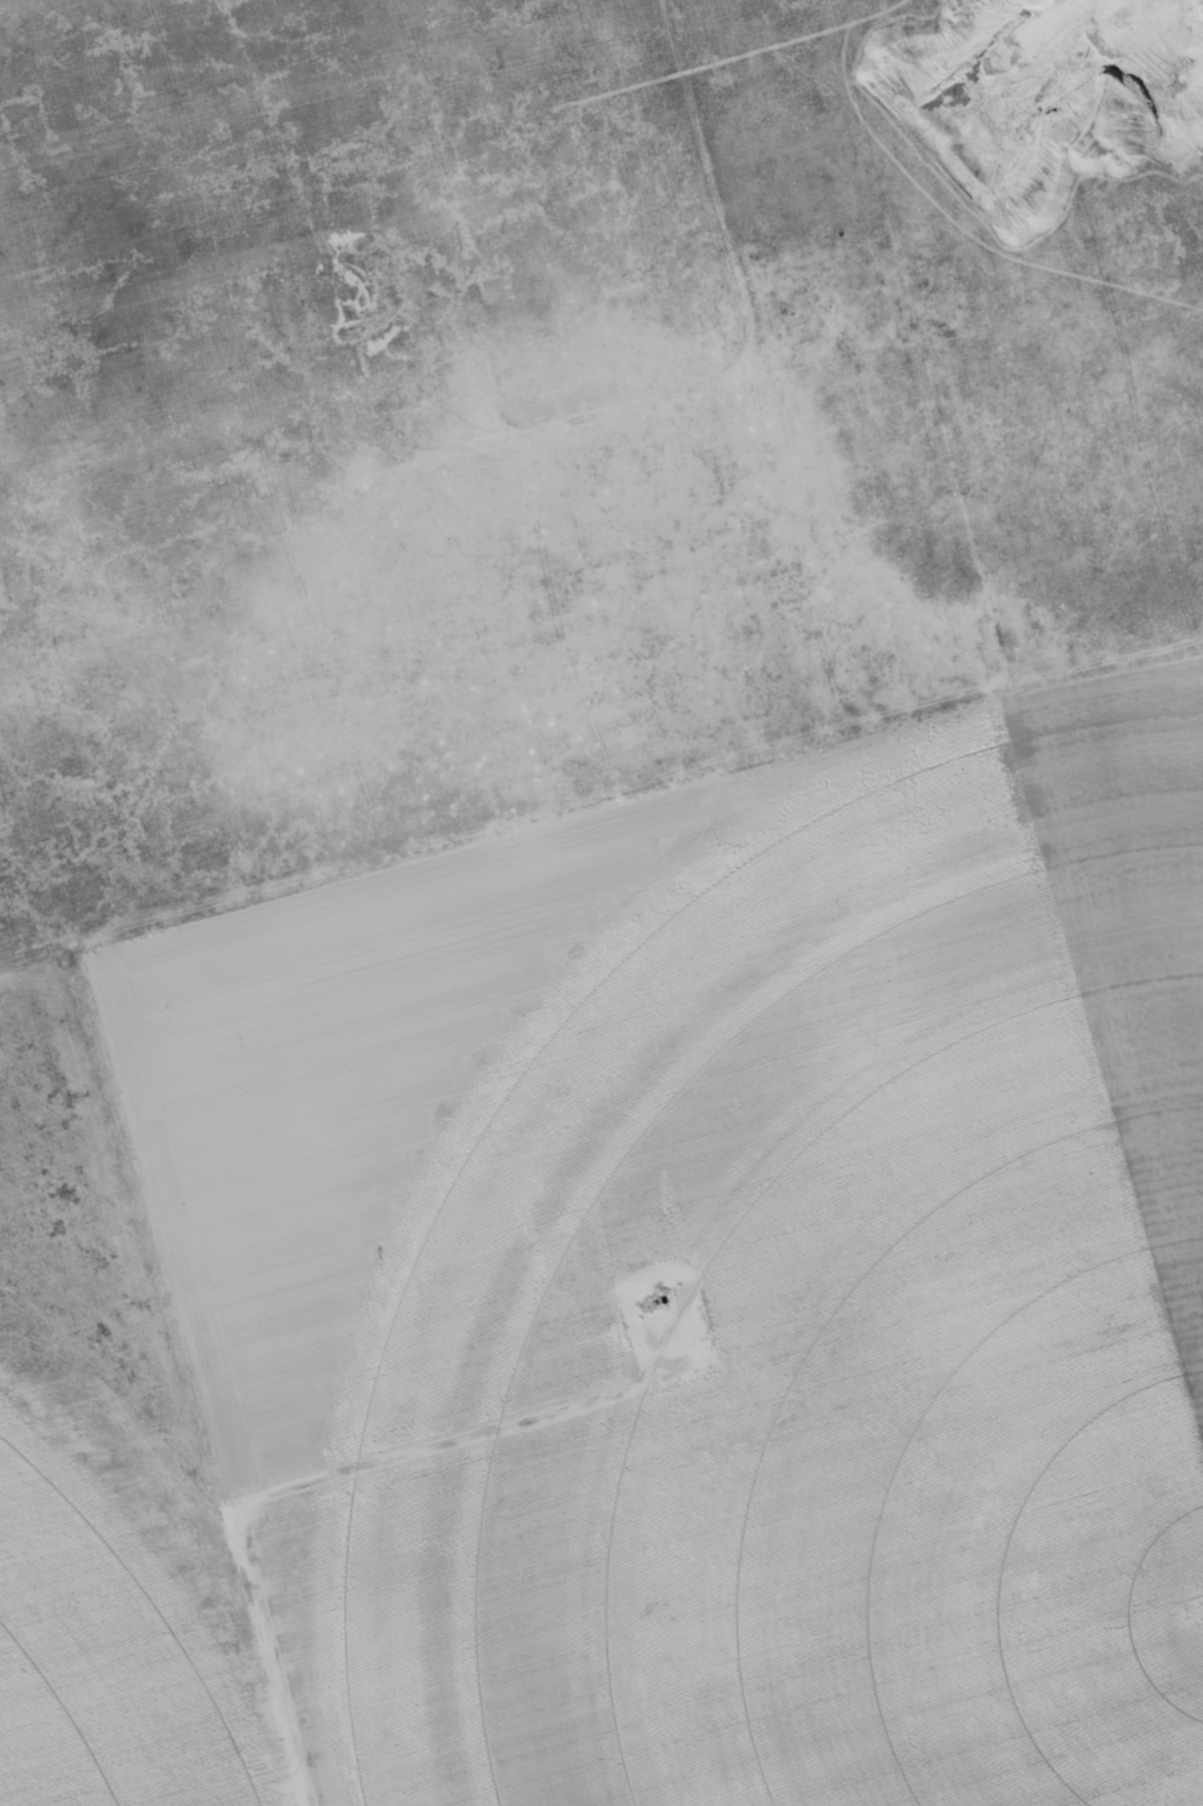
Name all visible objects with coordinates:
road: (727, 762)
petroleum well: (671, 1284)

